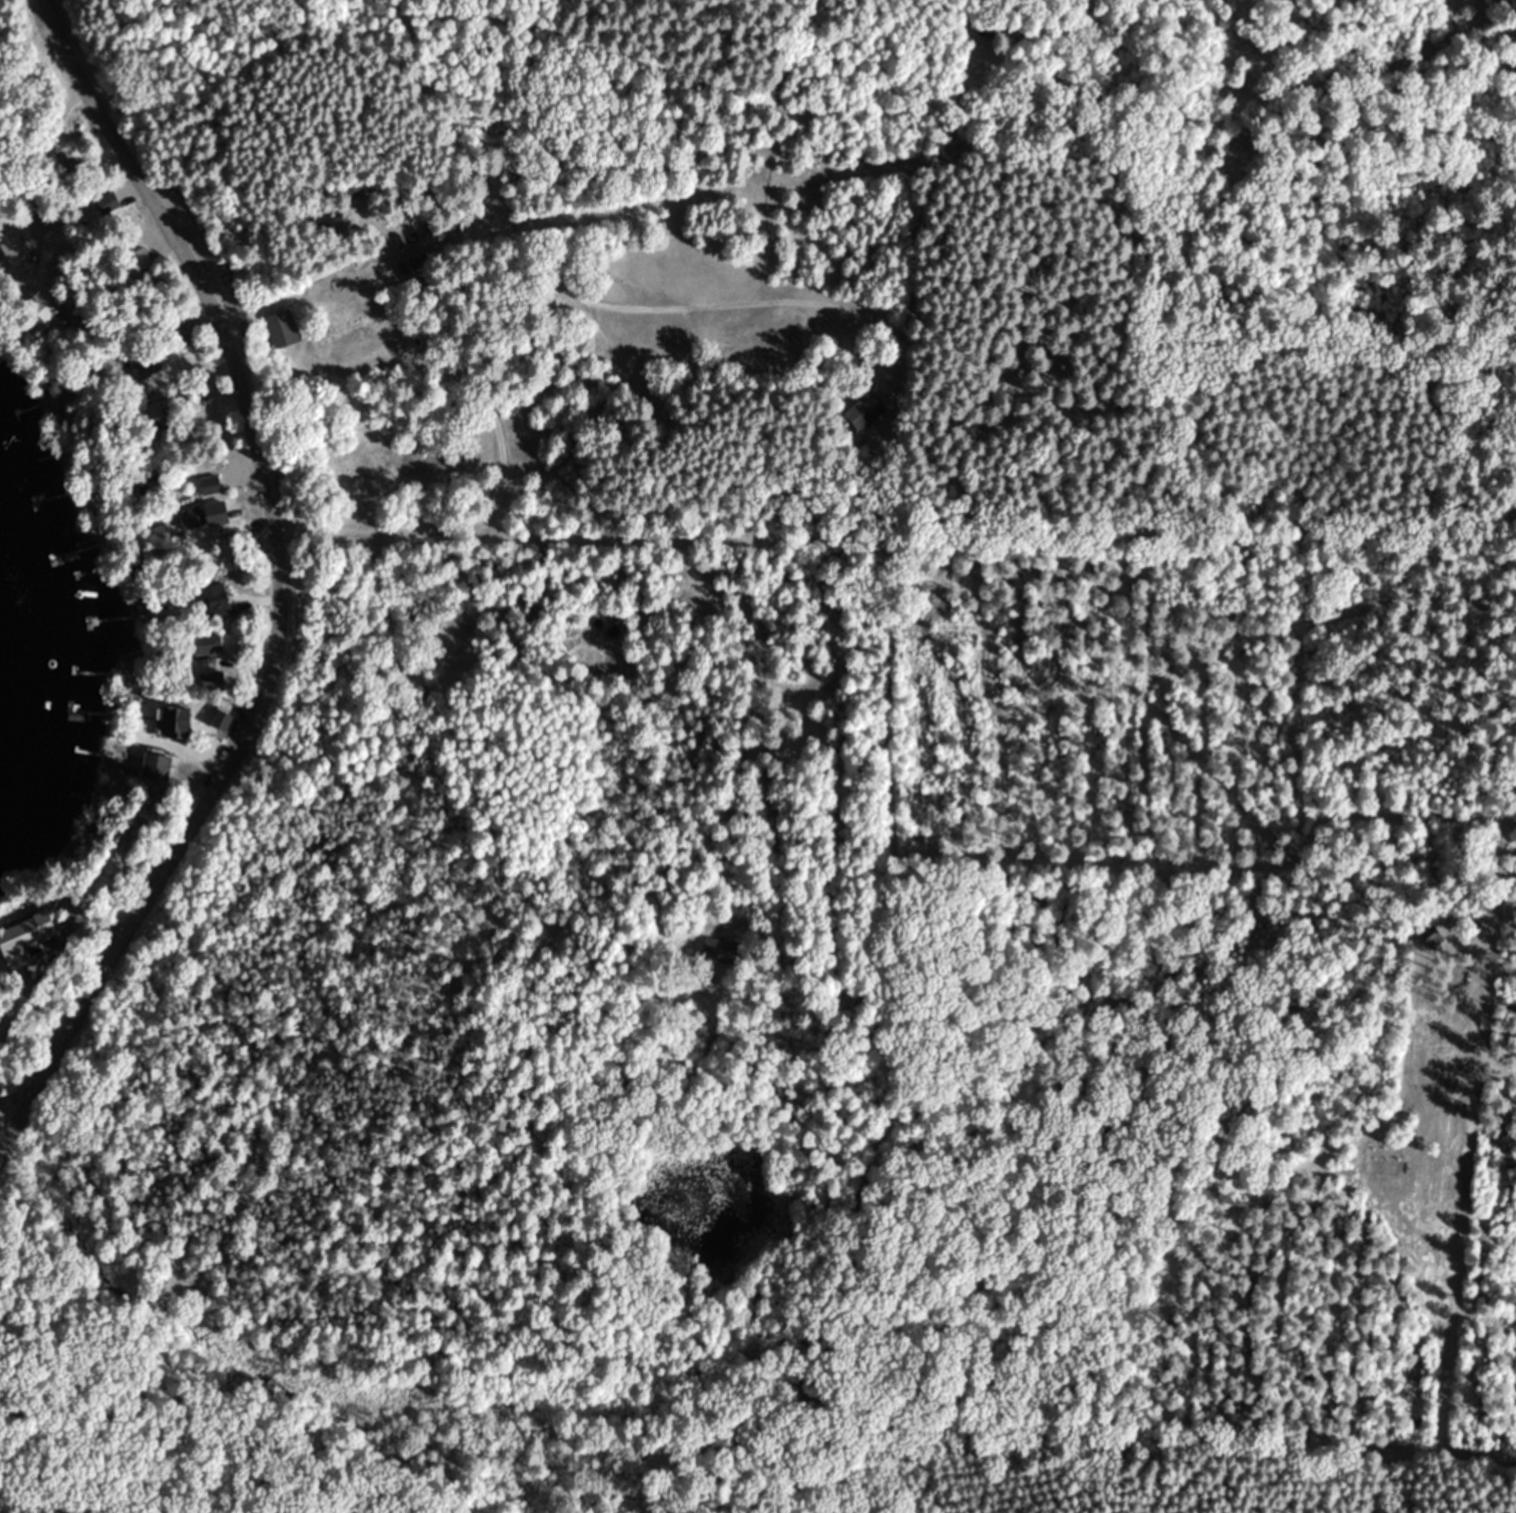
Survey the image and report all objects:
road: (978, 2)
road: (806, 26)
building: (989, 28)
road: (602, 46)
road: (1238, 61)
road: (794, 71)
road: (777, 96)
road: (1104, 112)
road: (771, 133)
road: (41, 151)
road: (847, 152)
road: (949, 166)
road: (243, 186)
road: (507, 192)
building: (377, 196)
building: (108, 202)
road: (766, 235)
building: (400, 241)
building: (15, 250)
building: (142, 259)
road: (376, 284)
building: (46, 307)
building: (282, 328)
parking lot: (351, 344)
building: (144, 362)
building: (862, 409)
building: (159, 411)
road: (668, 454)
road: (497, 471)
building: (210, 486)
building: (149, 488)
road: (850, 536)
road: (1200, 536)
road: (593, 572)
road: (279, 591)
building: (214, 600)
road: (693, 610)
building: (209, 644)
building: (212, 680)
road: (656, 687)
building: (220, 719)
building: (174, 721)
road: (749, 730)
building: (154, 767)
building: (1430, 937)
building: (719, 948)
road: (890, 1026)
road: (807, 1059)
road: (11, 1108)
road: (7, 1505)
road: (51, 1505)

